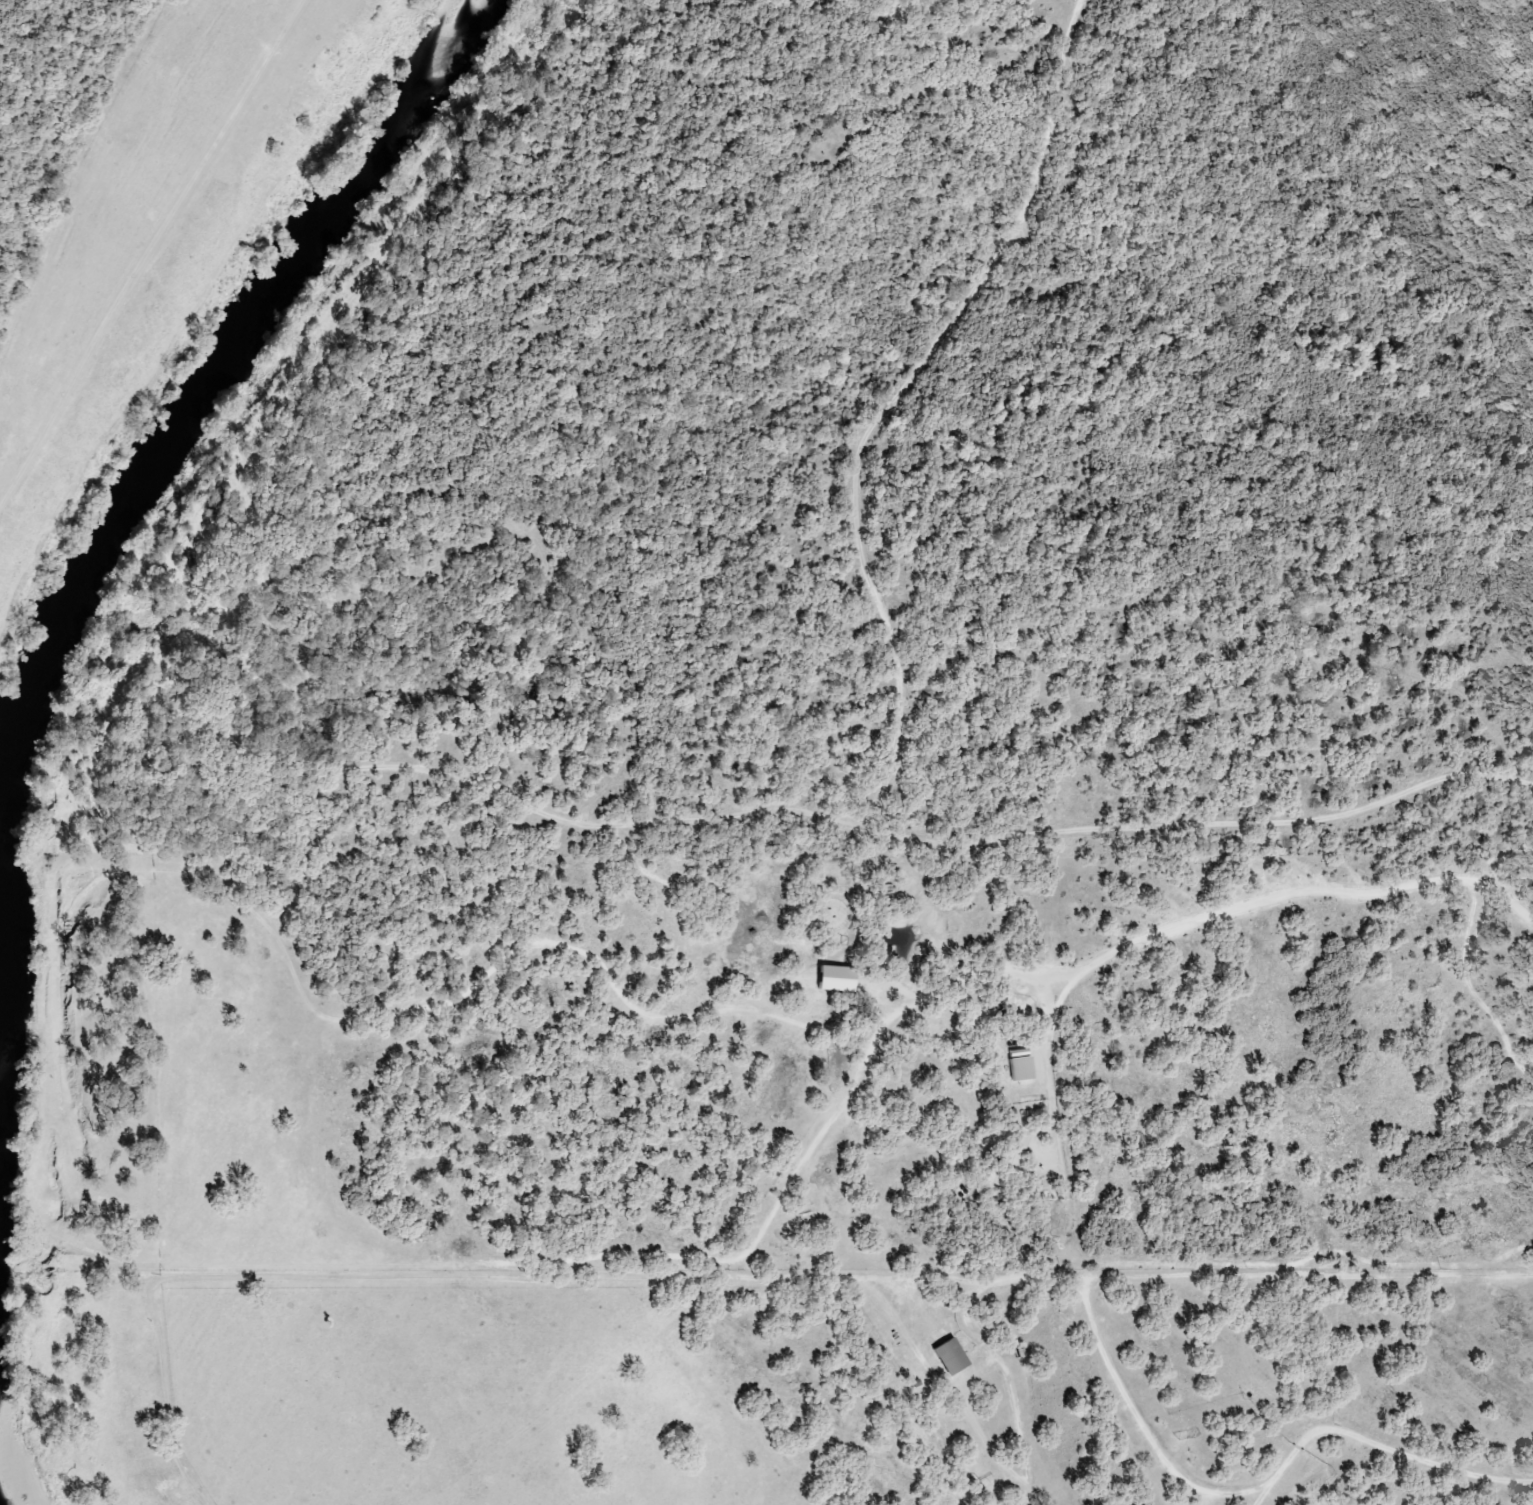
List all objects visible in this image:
river: (139, 470)
road: (945, 826)
road: (1185, 925)
building: (832, 978)
building: (1018, 1068)
building: (1013, 1152)
building: (947, 1357)

